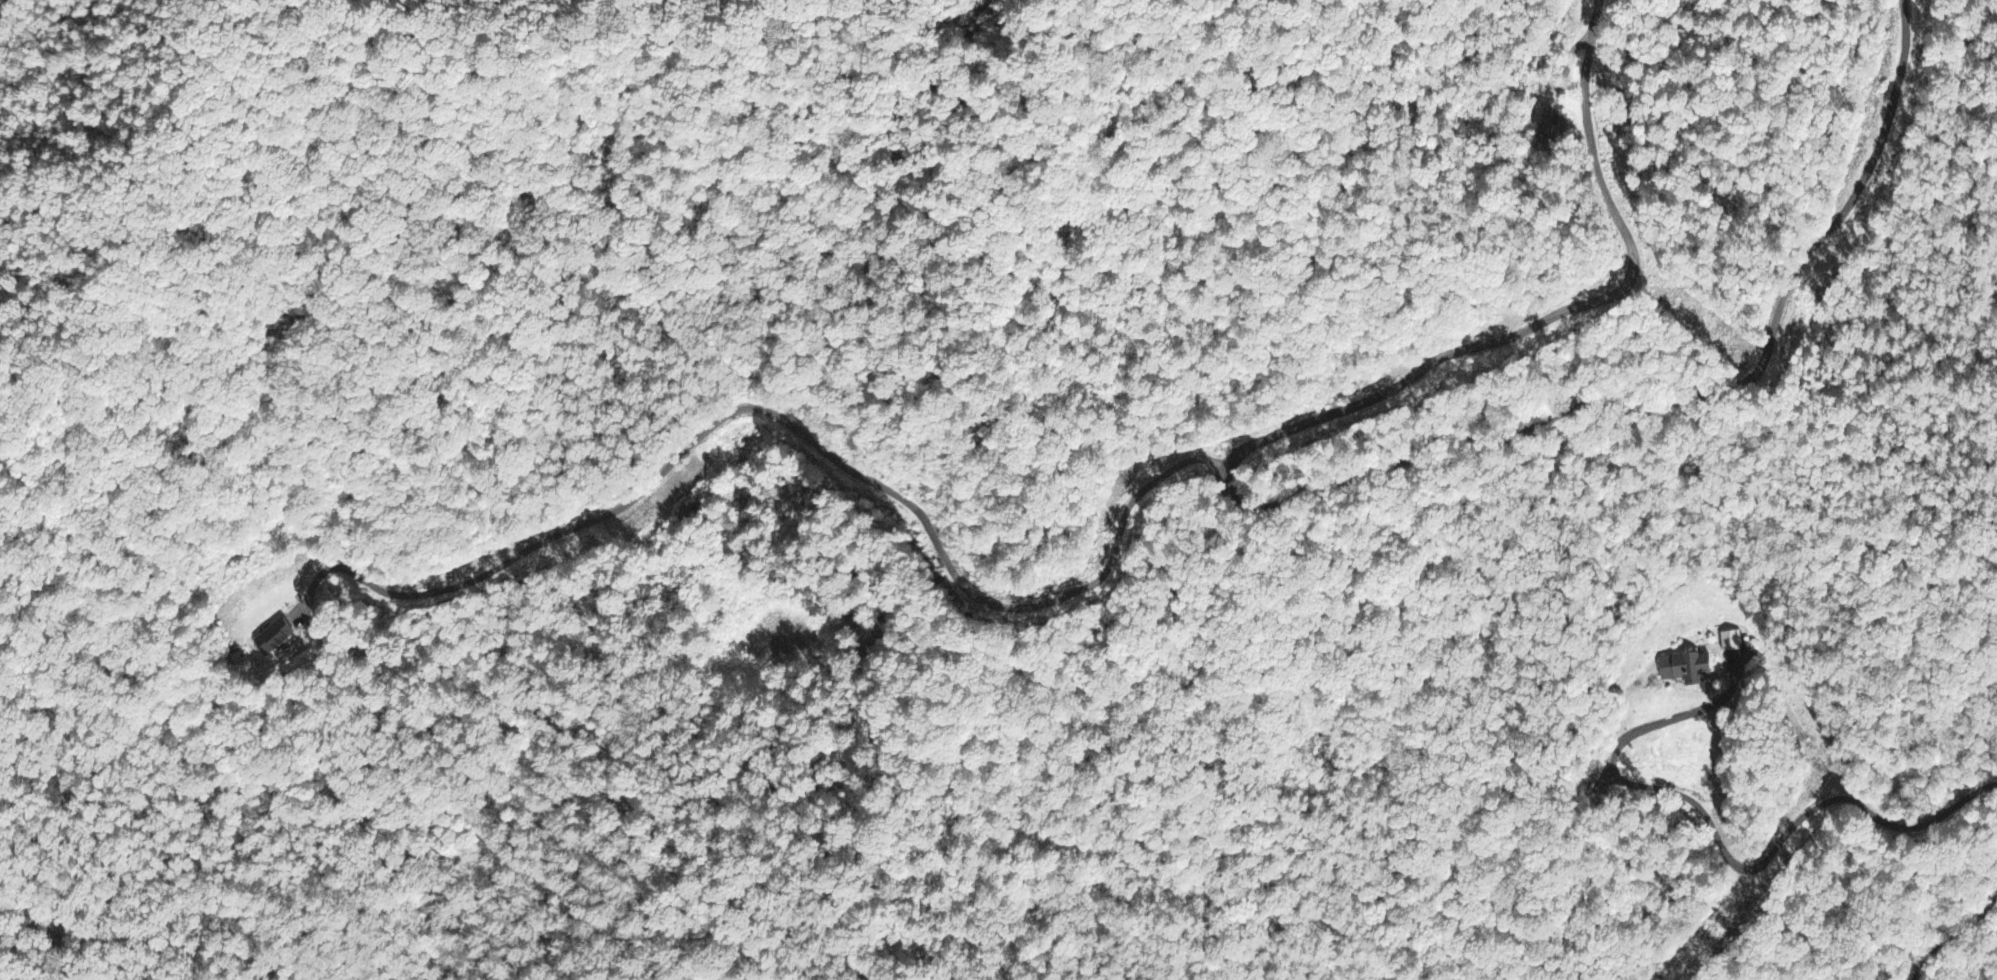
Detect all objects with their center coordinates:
building: (1549, 122)
road: (800, 431)
road: (1327, 489)
building: (275, 638)
building: (1731, 642)
building: (1688, 668)
road: (1724, 844)
road: (1953, 936)

